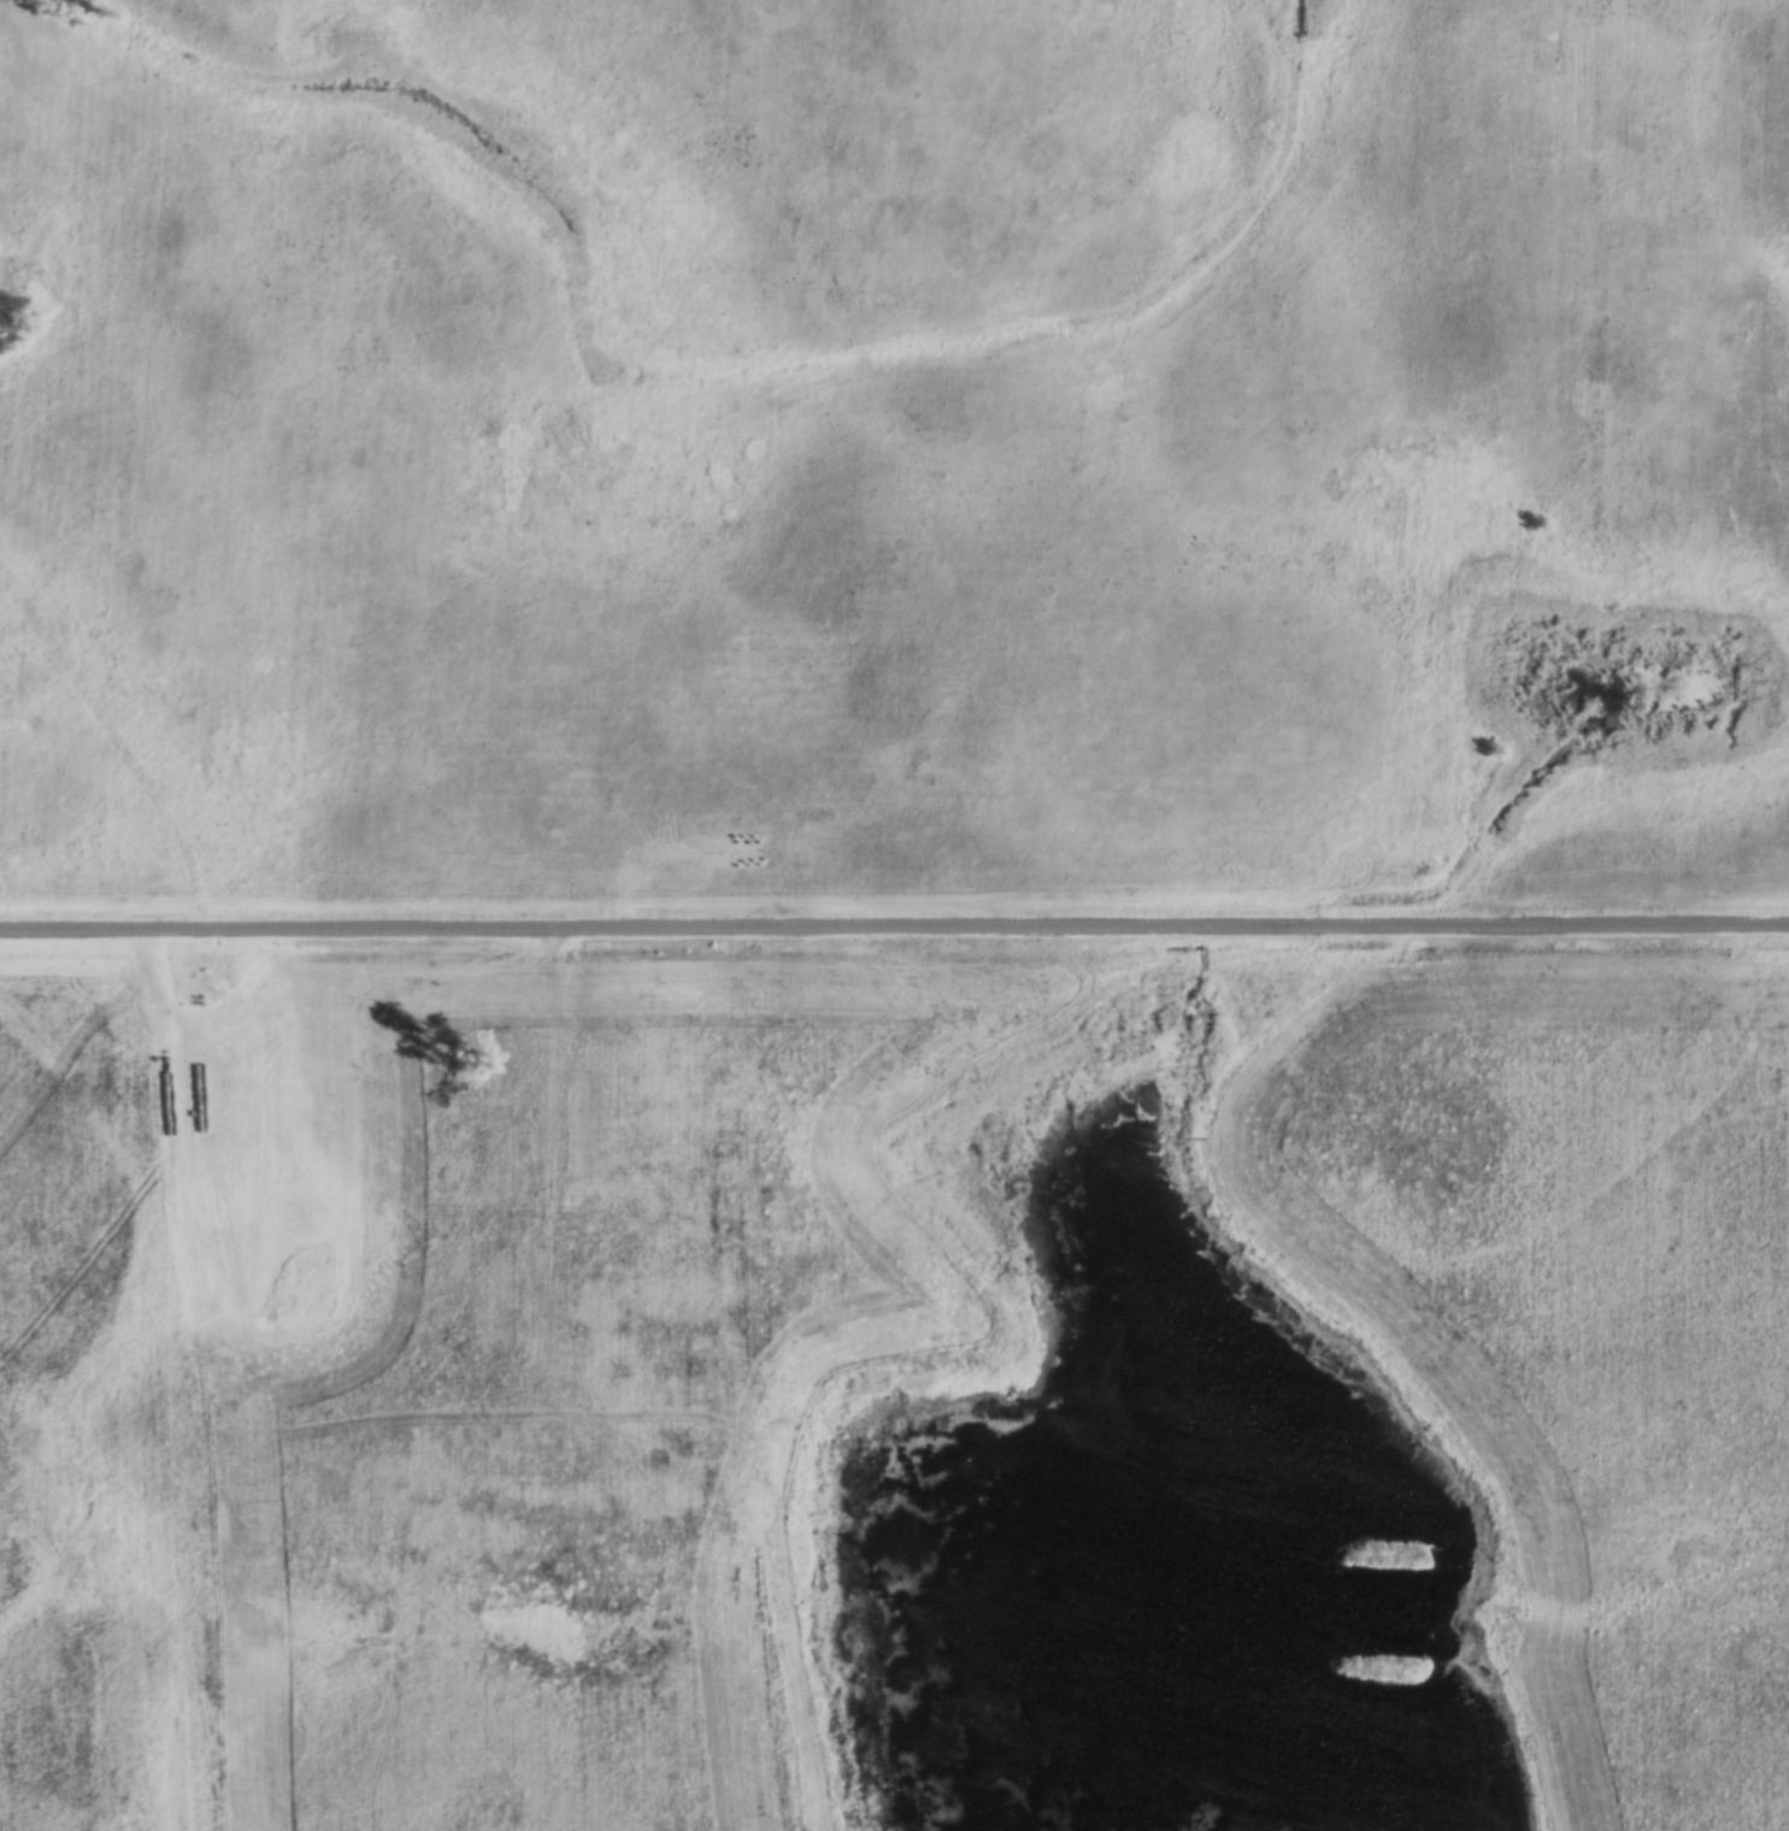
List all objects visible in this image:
road: (894, 920)

